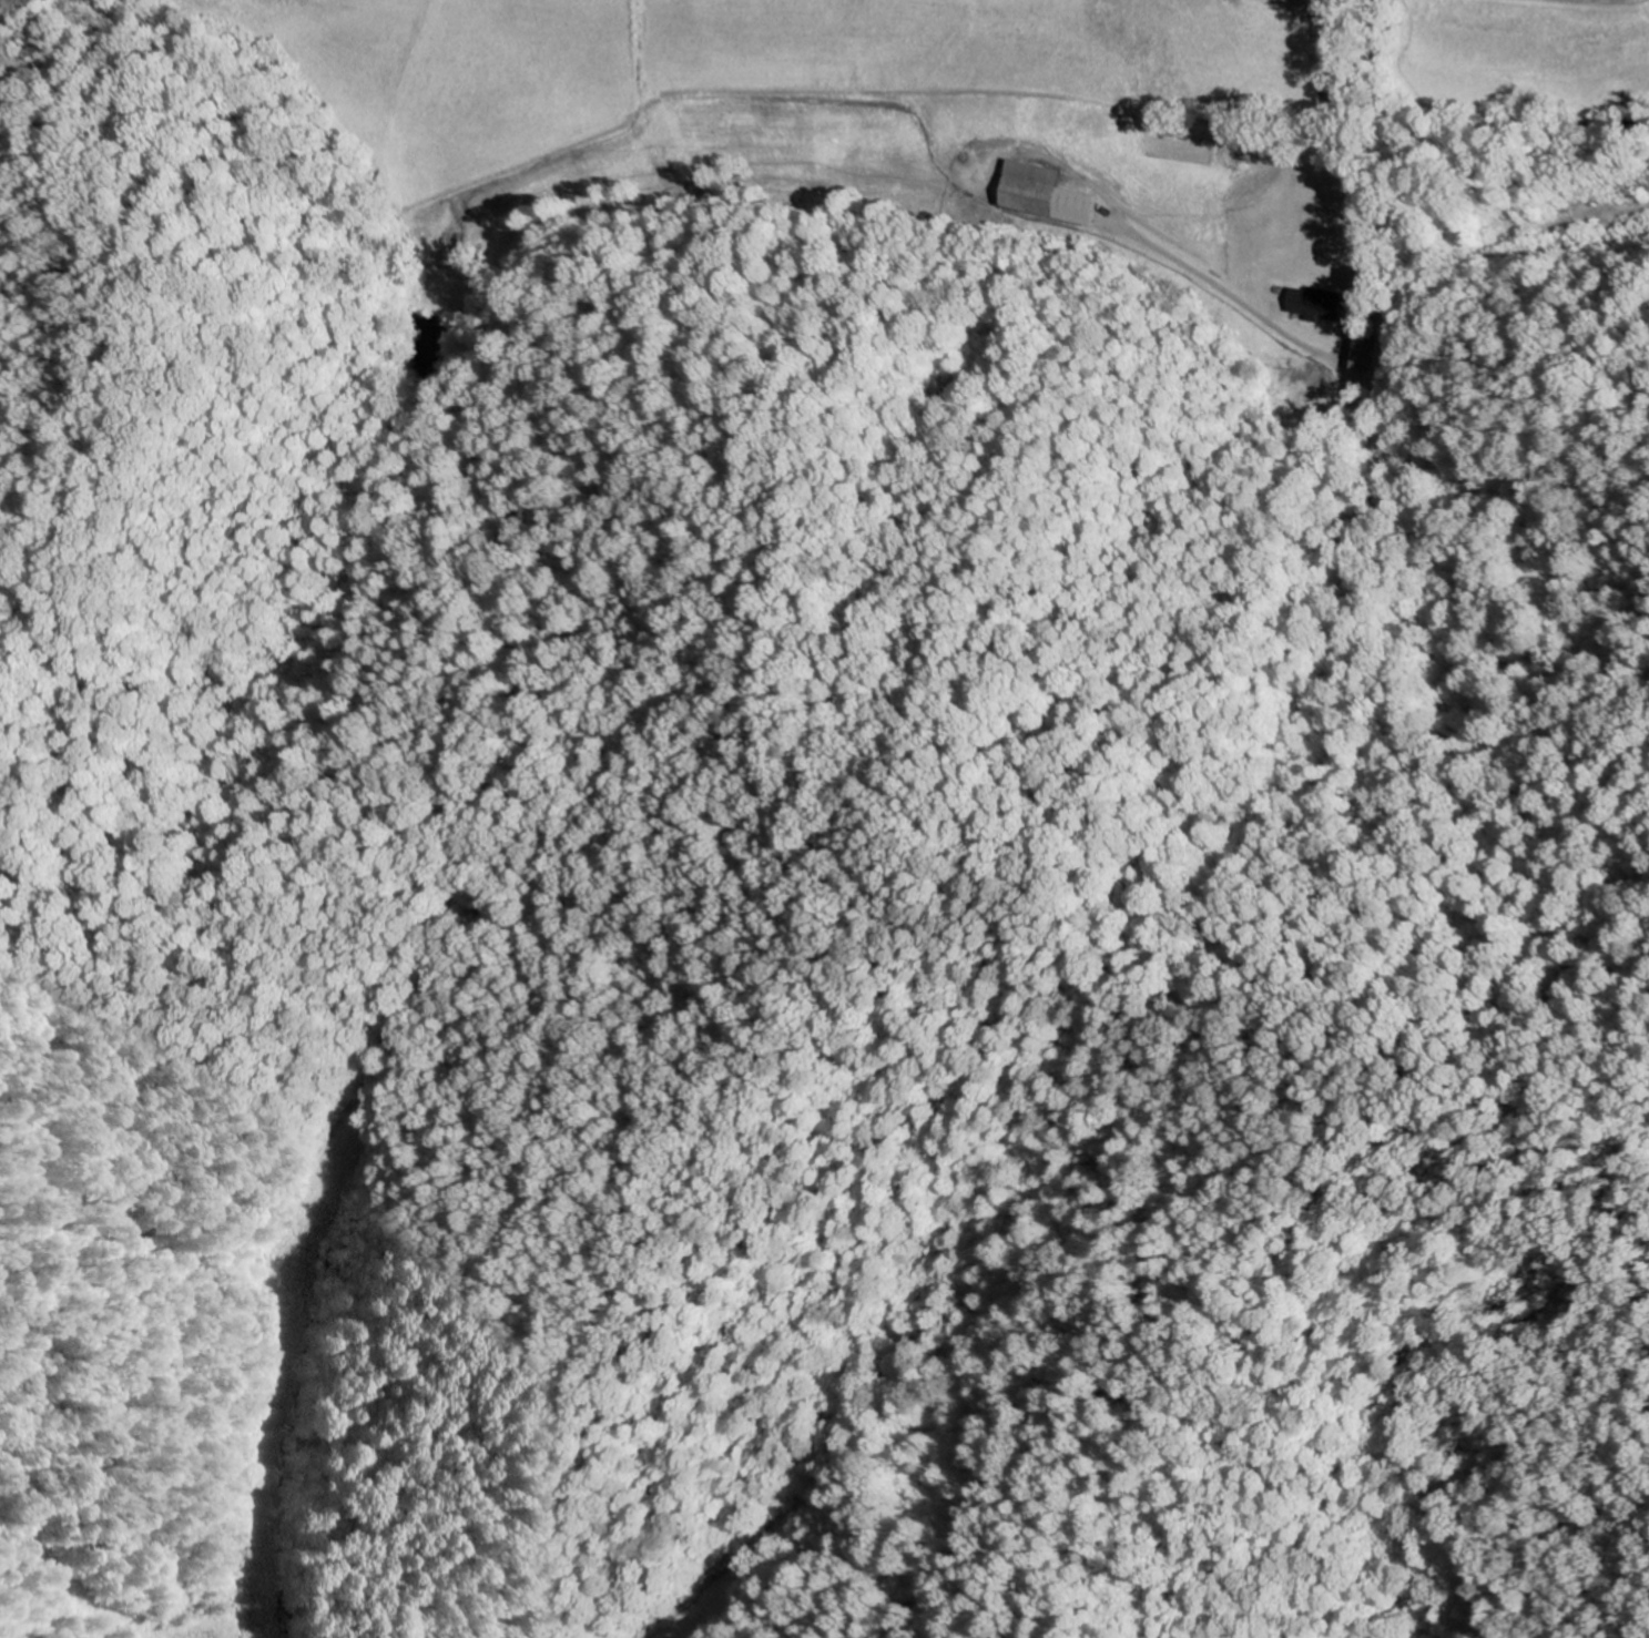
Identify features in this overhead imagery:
building: (1044, 194)
building: (1315, 304)

